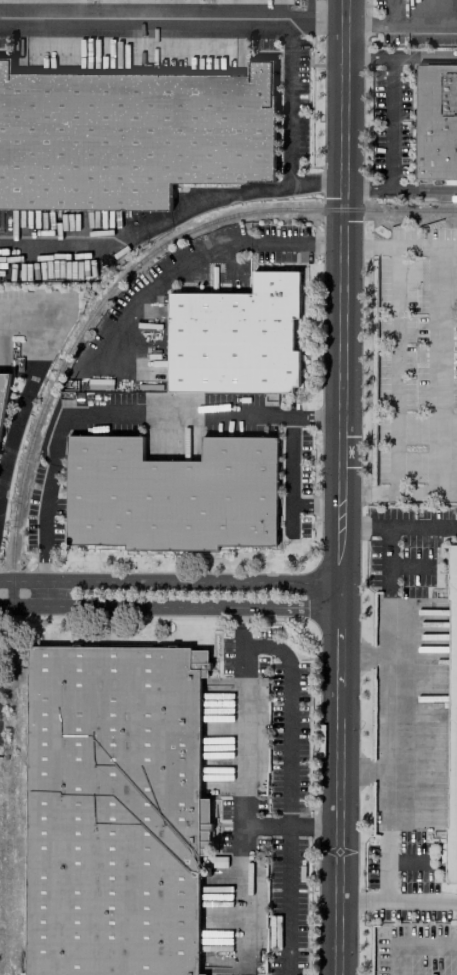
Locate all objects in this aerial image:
road: (308, 11)
road: (154, 18)
road: (326, 22)
road: (378, 24)
road: (400, 57)
road: (289, 102)
building: (436, 121)
road: (390, 123)
building: (130, 135)
road: (316, 182)
road: (399, 189)
road: (229, 195)
railway: (422, 209)
road: (280, 242)
road: (327, 244)
road: (88, 246)
road: (341, 246)
road: (364, 246)
road: (449, 247)
road: (153, 283)
railway: (99, 310)
road: (47, 332)
building: (234, 337)
road: (441, 342)
road: (395, 370)
building: (3, 391)
road: (112, 414)
road: (11, 448)
road: (291, 484)
road: (363, 493)
road: (413, 493)
building: (171, 494)
road: (448, 494)
road: (341, 508)
road: (354, 524)
road: (377, 524)
road: (421, 524)
road: (409, 566)
road: (387, 584)
road: (121, 593)
road: (291, 594)
road: (242, 610)
road: (362, 655)
road: (286, 706)
road: (386, 712)
building: (452, 721)
road: (242, 739)
road: (339, 749)
road: (362, 769)
building: (114, 810)
road: (410, 822)
road: (385, 826)
road: (322, 827)
road: (407, 860)
road: (384, 865)
road: (241, 879)
road: (286, 892)
road: (350, 902)
road: (410, 902)
road: (410, 942)

